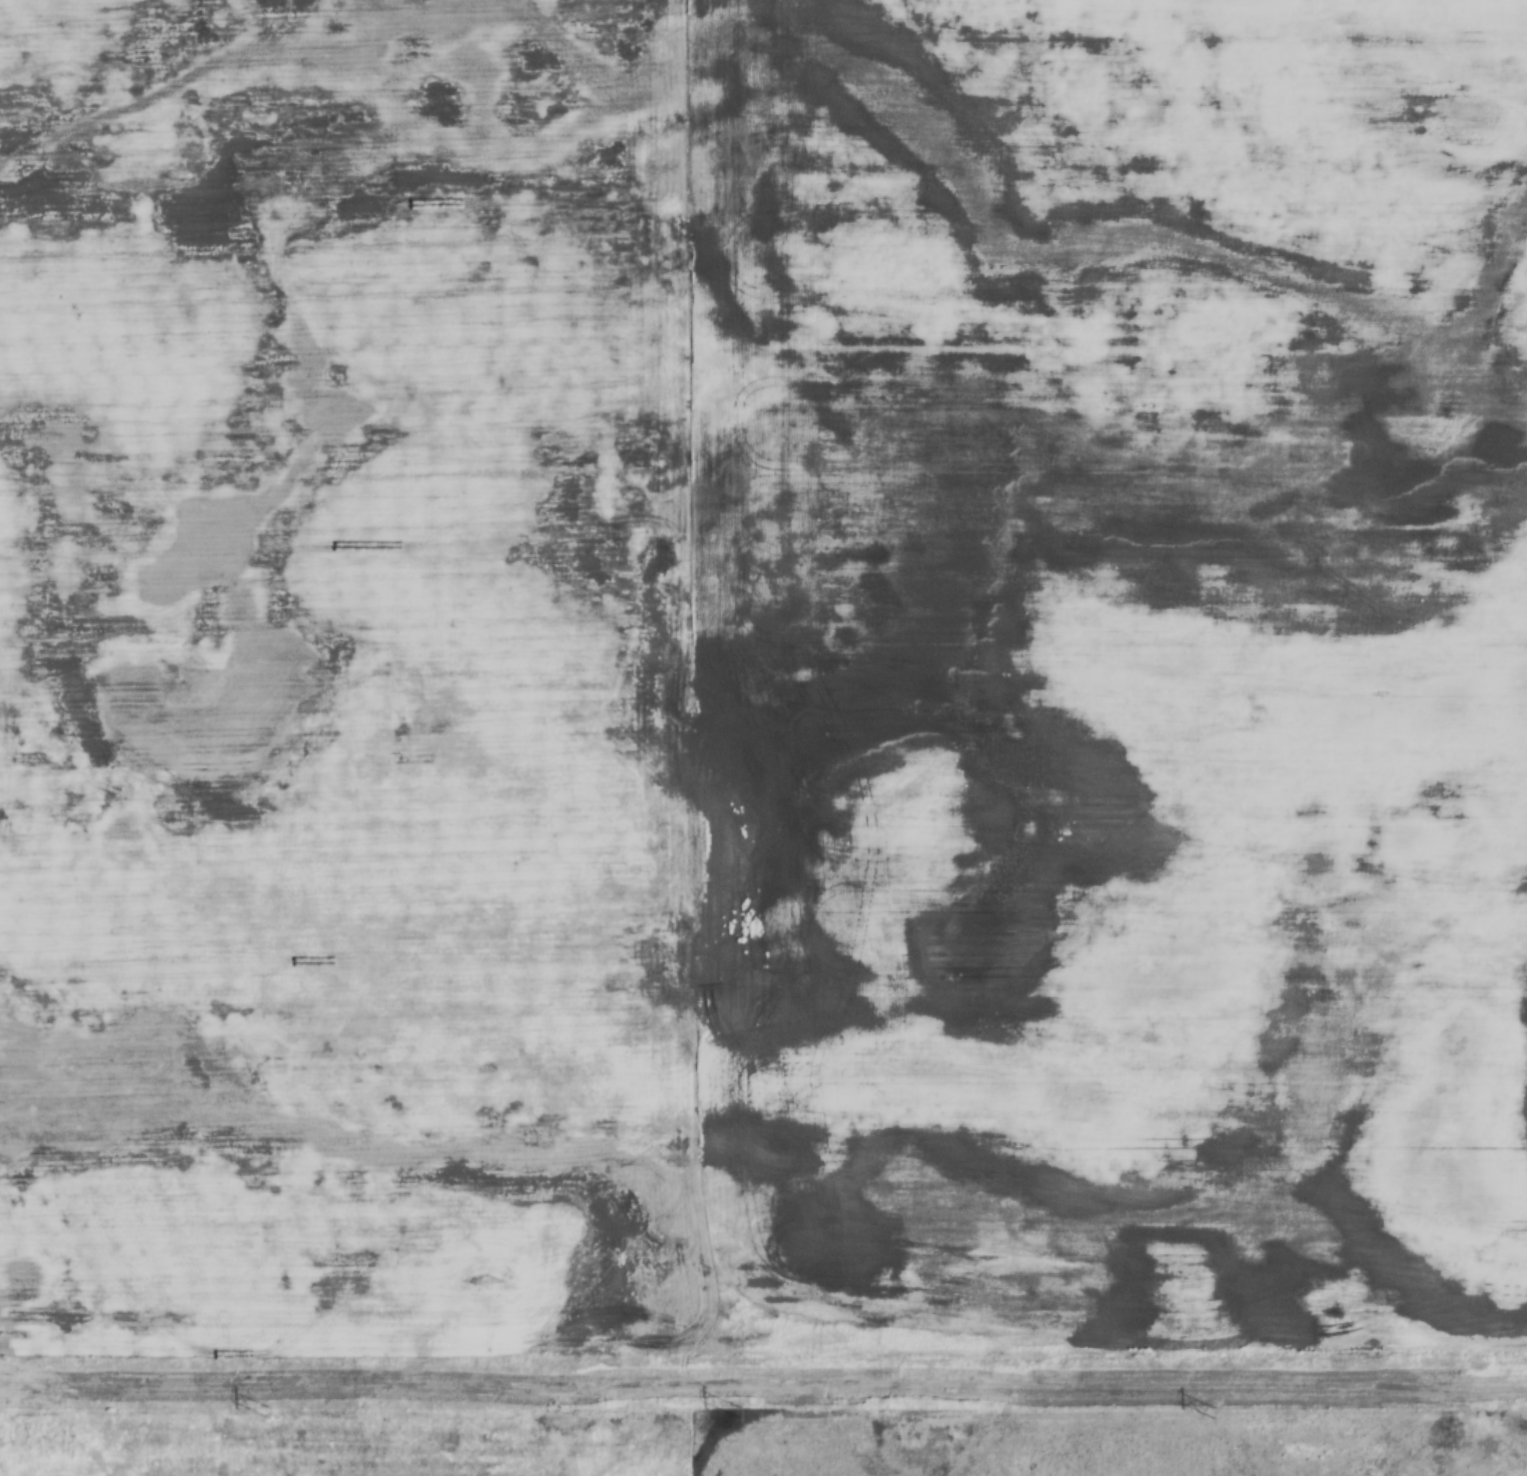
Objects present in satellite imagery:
road: (763, 1384)
power tower: (268, 1412)
power tower: (739, 1412)
power tower: (1209, 1412)

